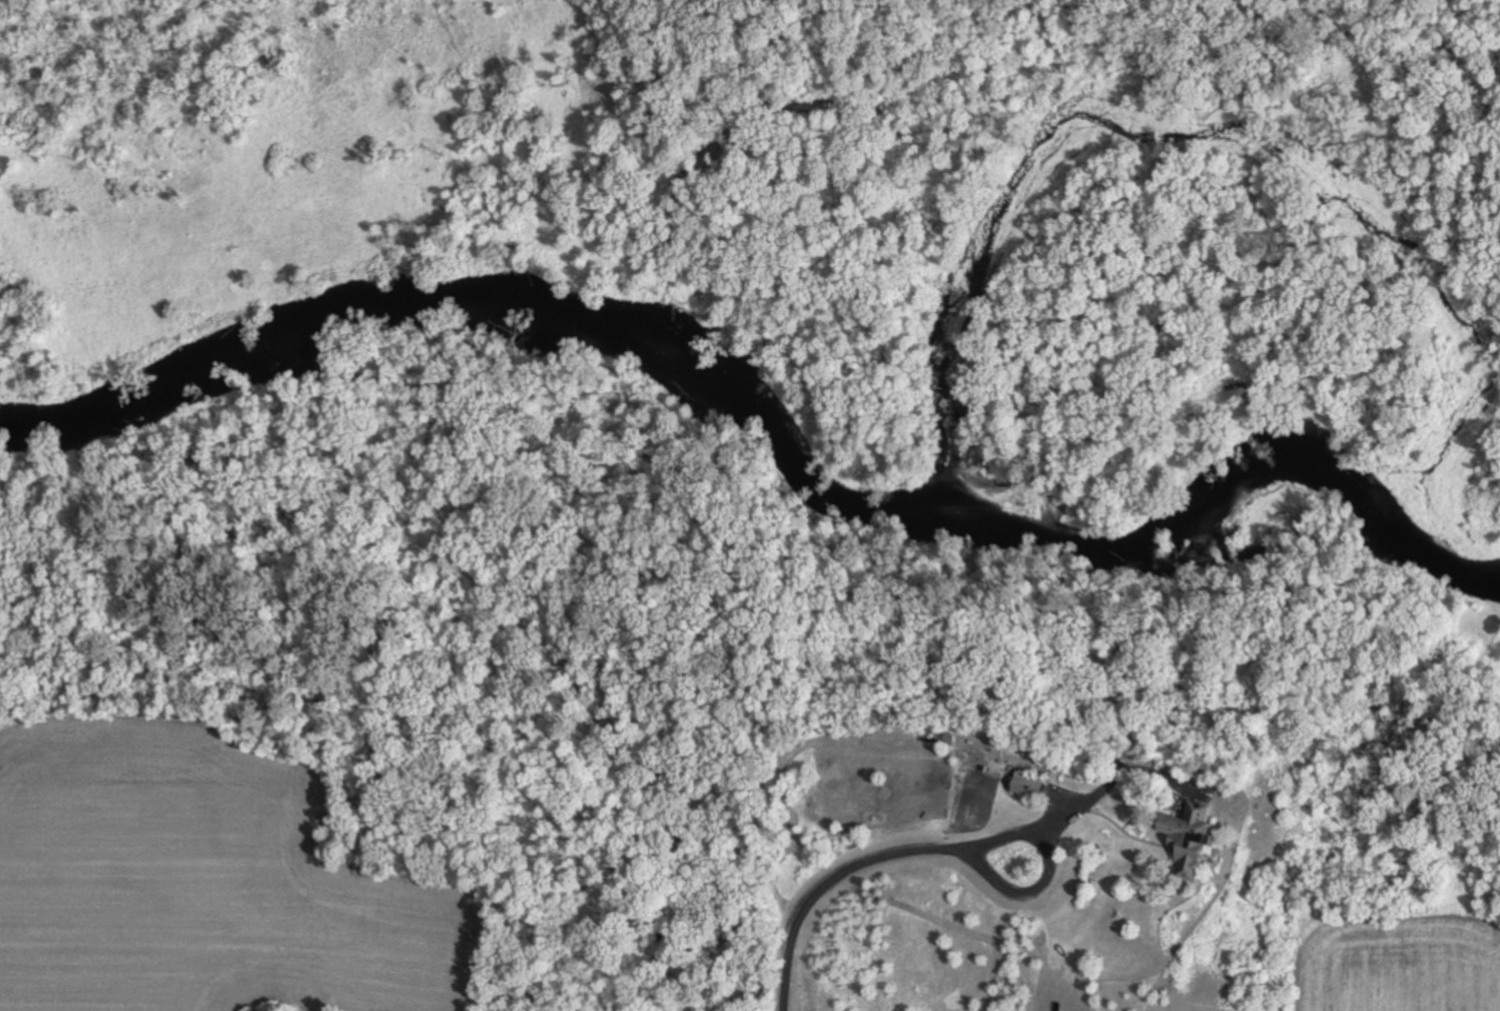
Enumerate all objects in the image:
river: (961, 462)
building: (1025, 785)
building: (1182, 838)

